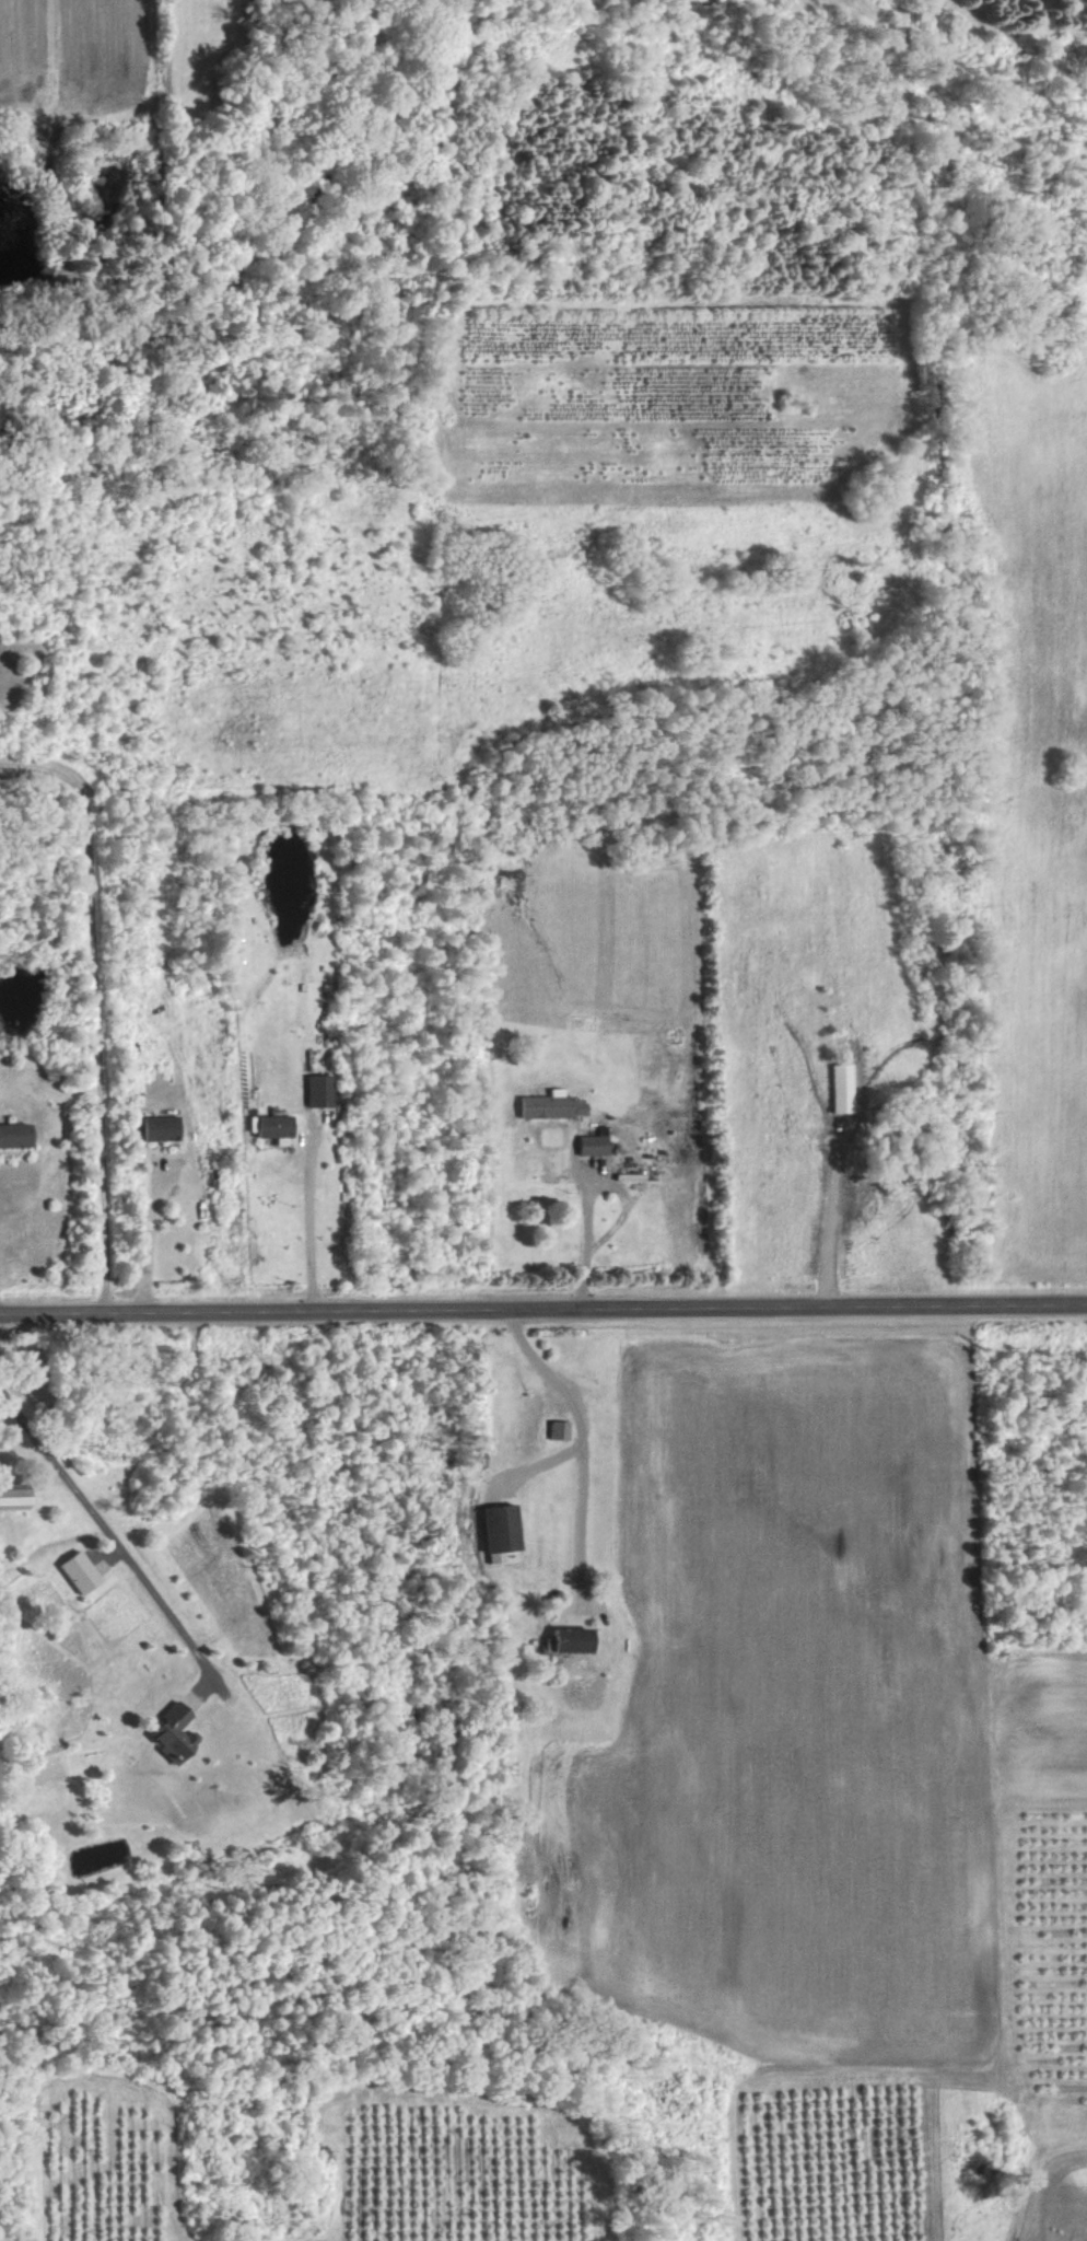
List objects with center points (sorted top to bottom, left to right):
road: (98, 1001)
building: (842, 1088)
building: (319, 1091)
building: (552, 1106)
building: (273, 1126)
building: (160, 1128)
building: (15, 1135)
building: (594, 1145)
road: (592, 1188)
road: (827, 1210)
road: (315, 1239)
road: (151, 1252)
road: (543, 1308)
building: (560, 1430)
road: (580, 1451)
road: (546, 1456)
building: (15, 1498)
building: (500, 1524)
road: (108, 1534)
building: (79, 1568)
building: (568, 1636)
crop: (784, 1698)
crop: (1051, 1721)
building: (172, 1728)
crop: (1049, 1947)
crop: (831, 2159)
crop: (103, 2162)
crop: (461, 2171)

